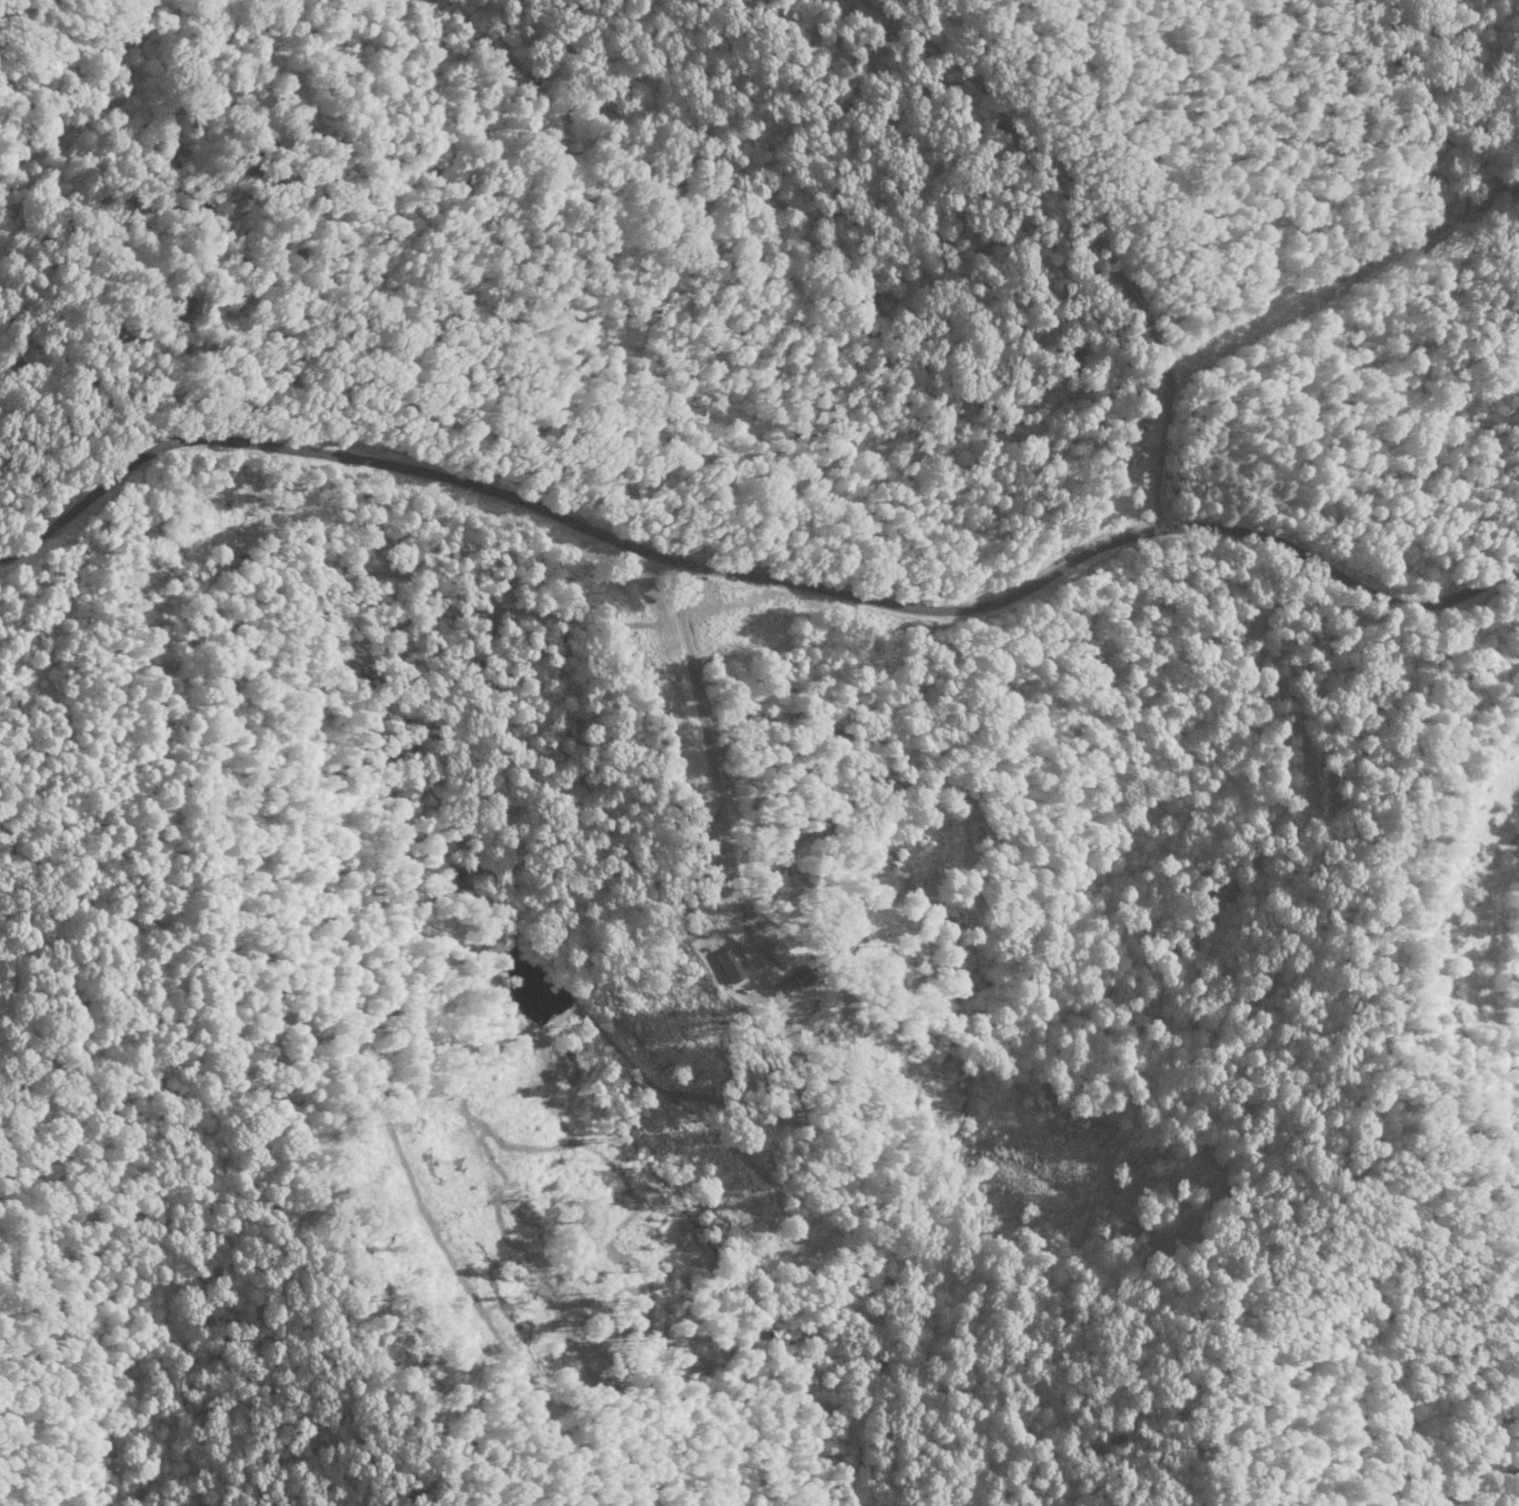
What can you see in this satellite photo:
road: (743, 577)
building: (779, 955)

